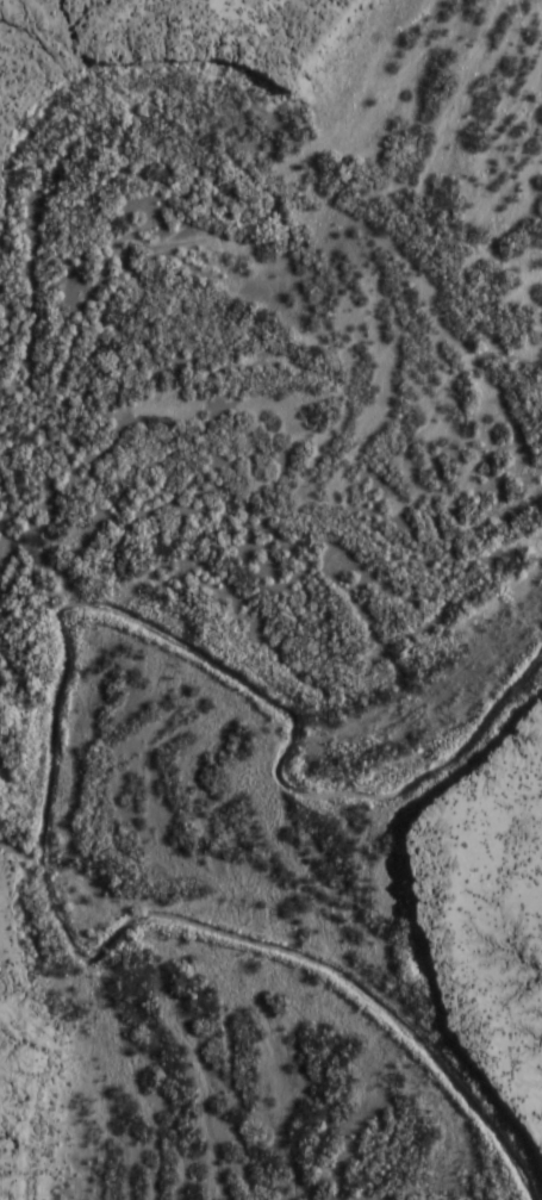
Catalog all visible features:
river: (95, 520)

